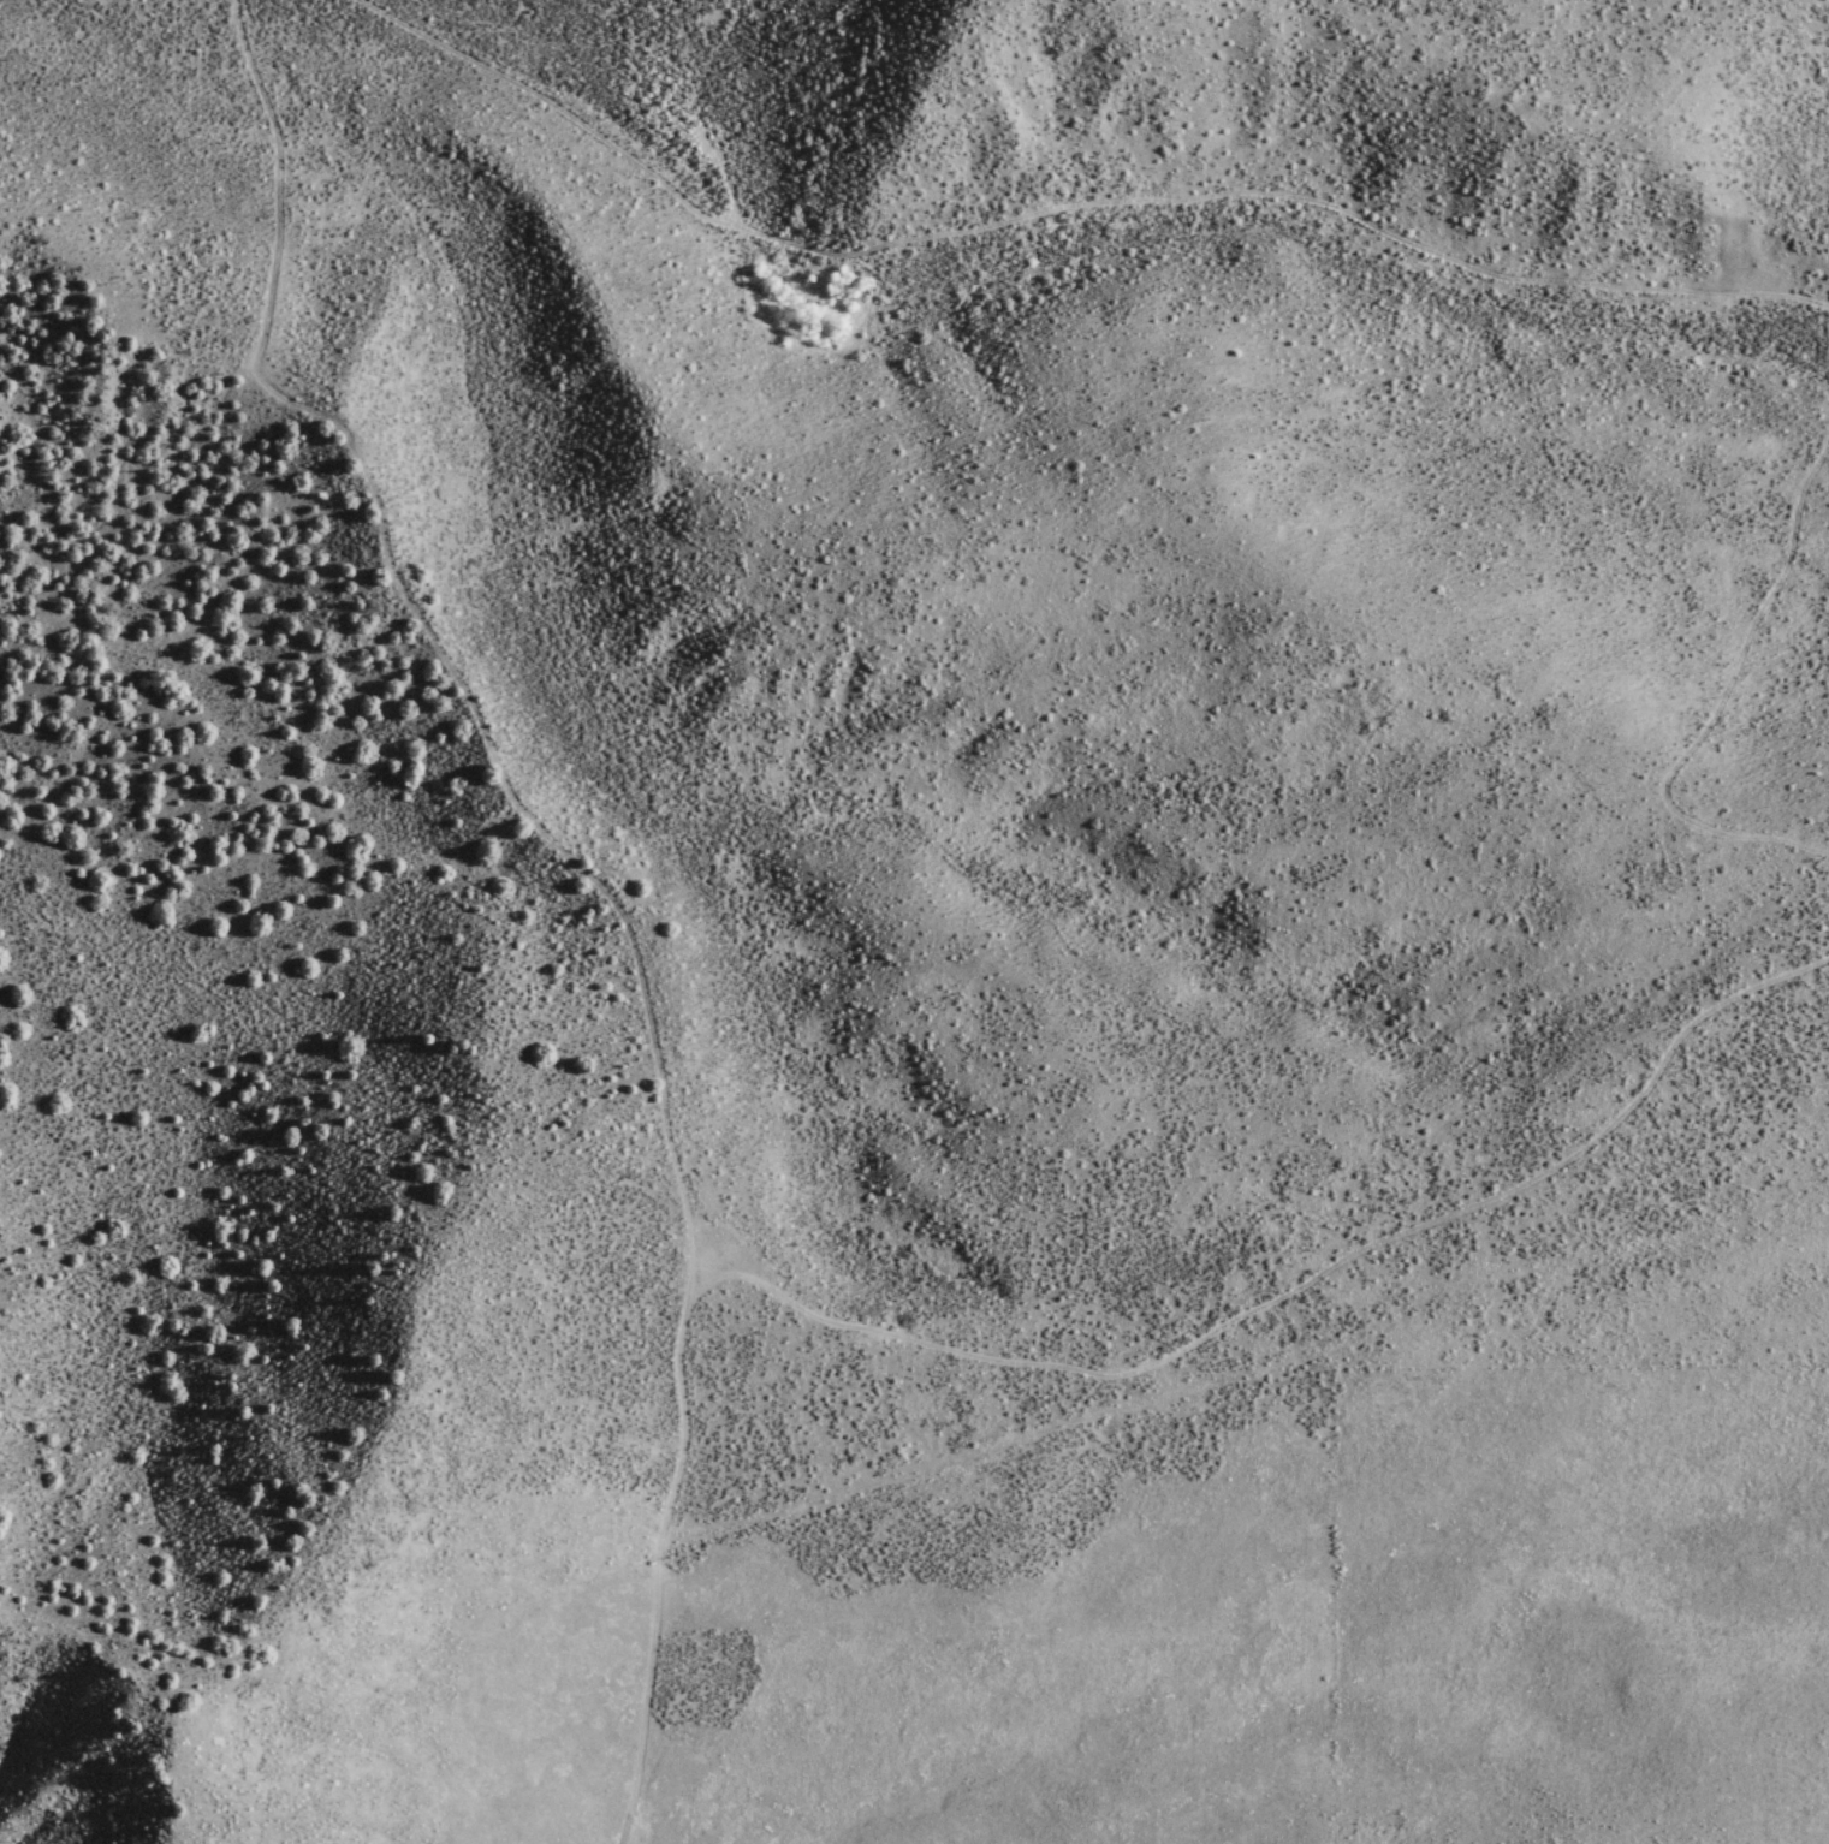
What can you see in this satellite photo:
crop: (281, 118)
road: (1062, 203)
road: (437, 660)
road: (1718, 664)
road: (1590, 1142)
road: (758, 1314)
crop: (788, 1564)

